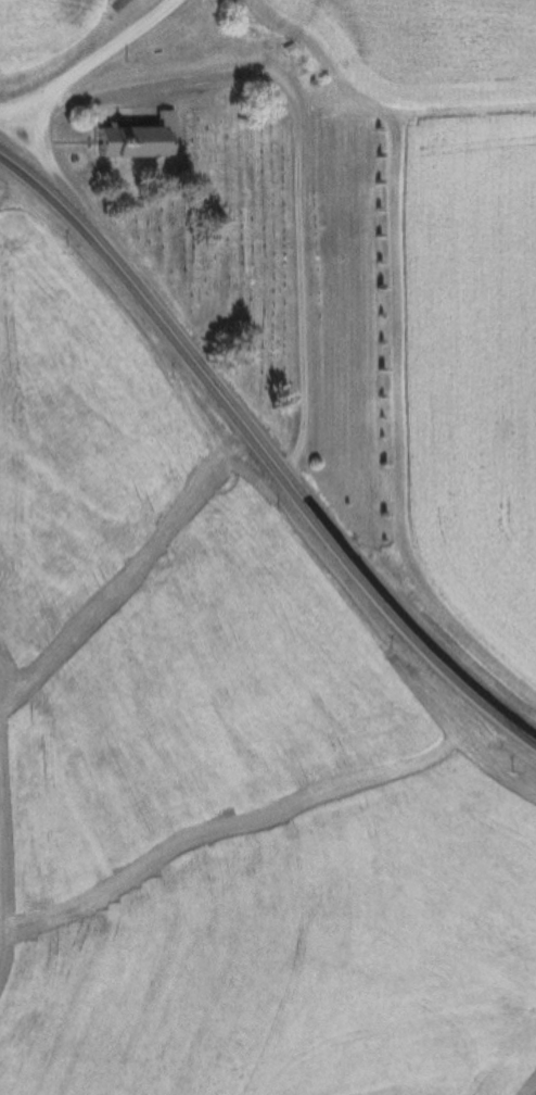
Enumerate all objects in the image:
road: (80, 67)
building: (138, 137)
road: (298, 159)
park: (218, 242)
road: (263, 448)

